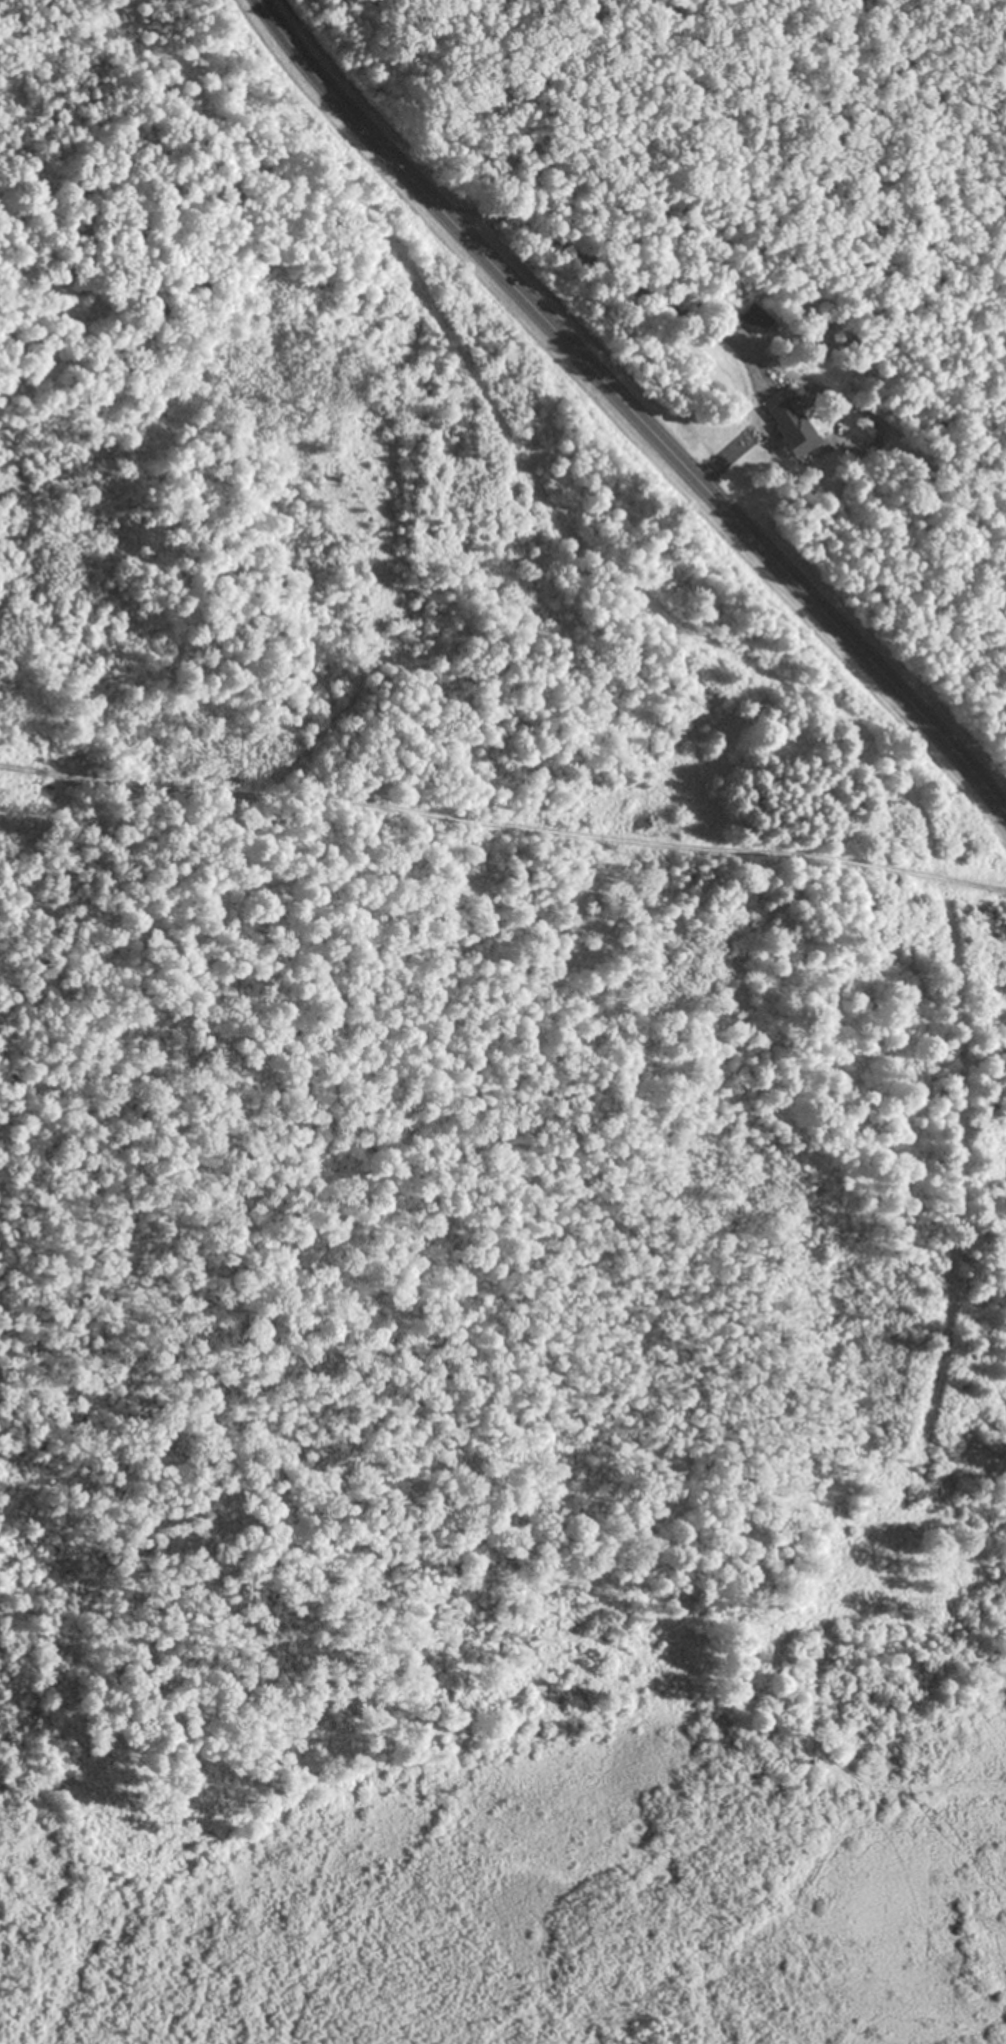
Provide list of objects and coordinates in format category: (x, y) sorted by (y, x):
building: (755, 321)
road: (628, 410)
building: (792, 435)

